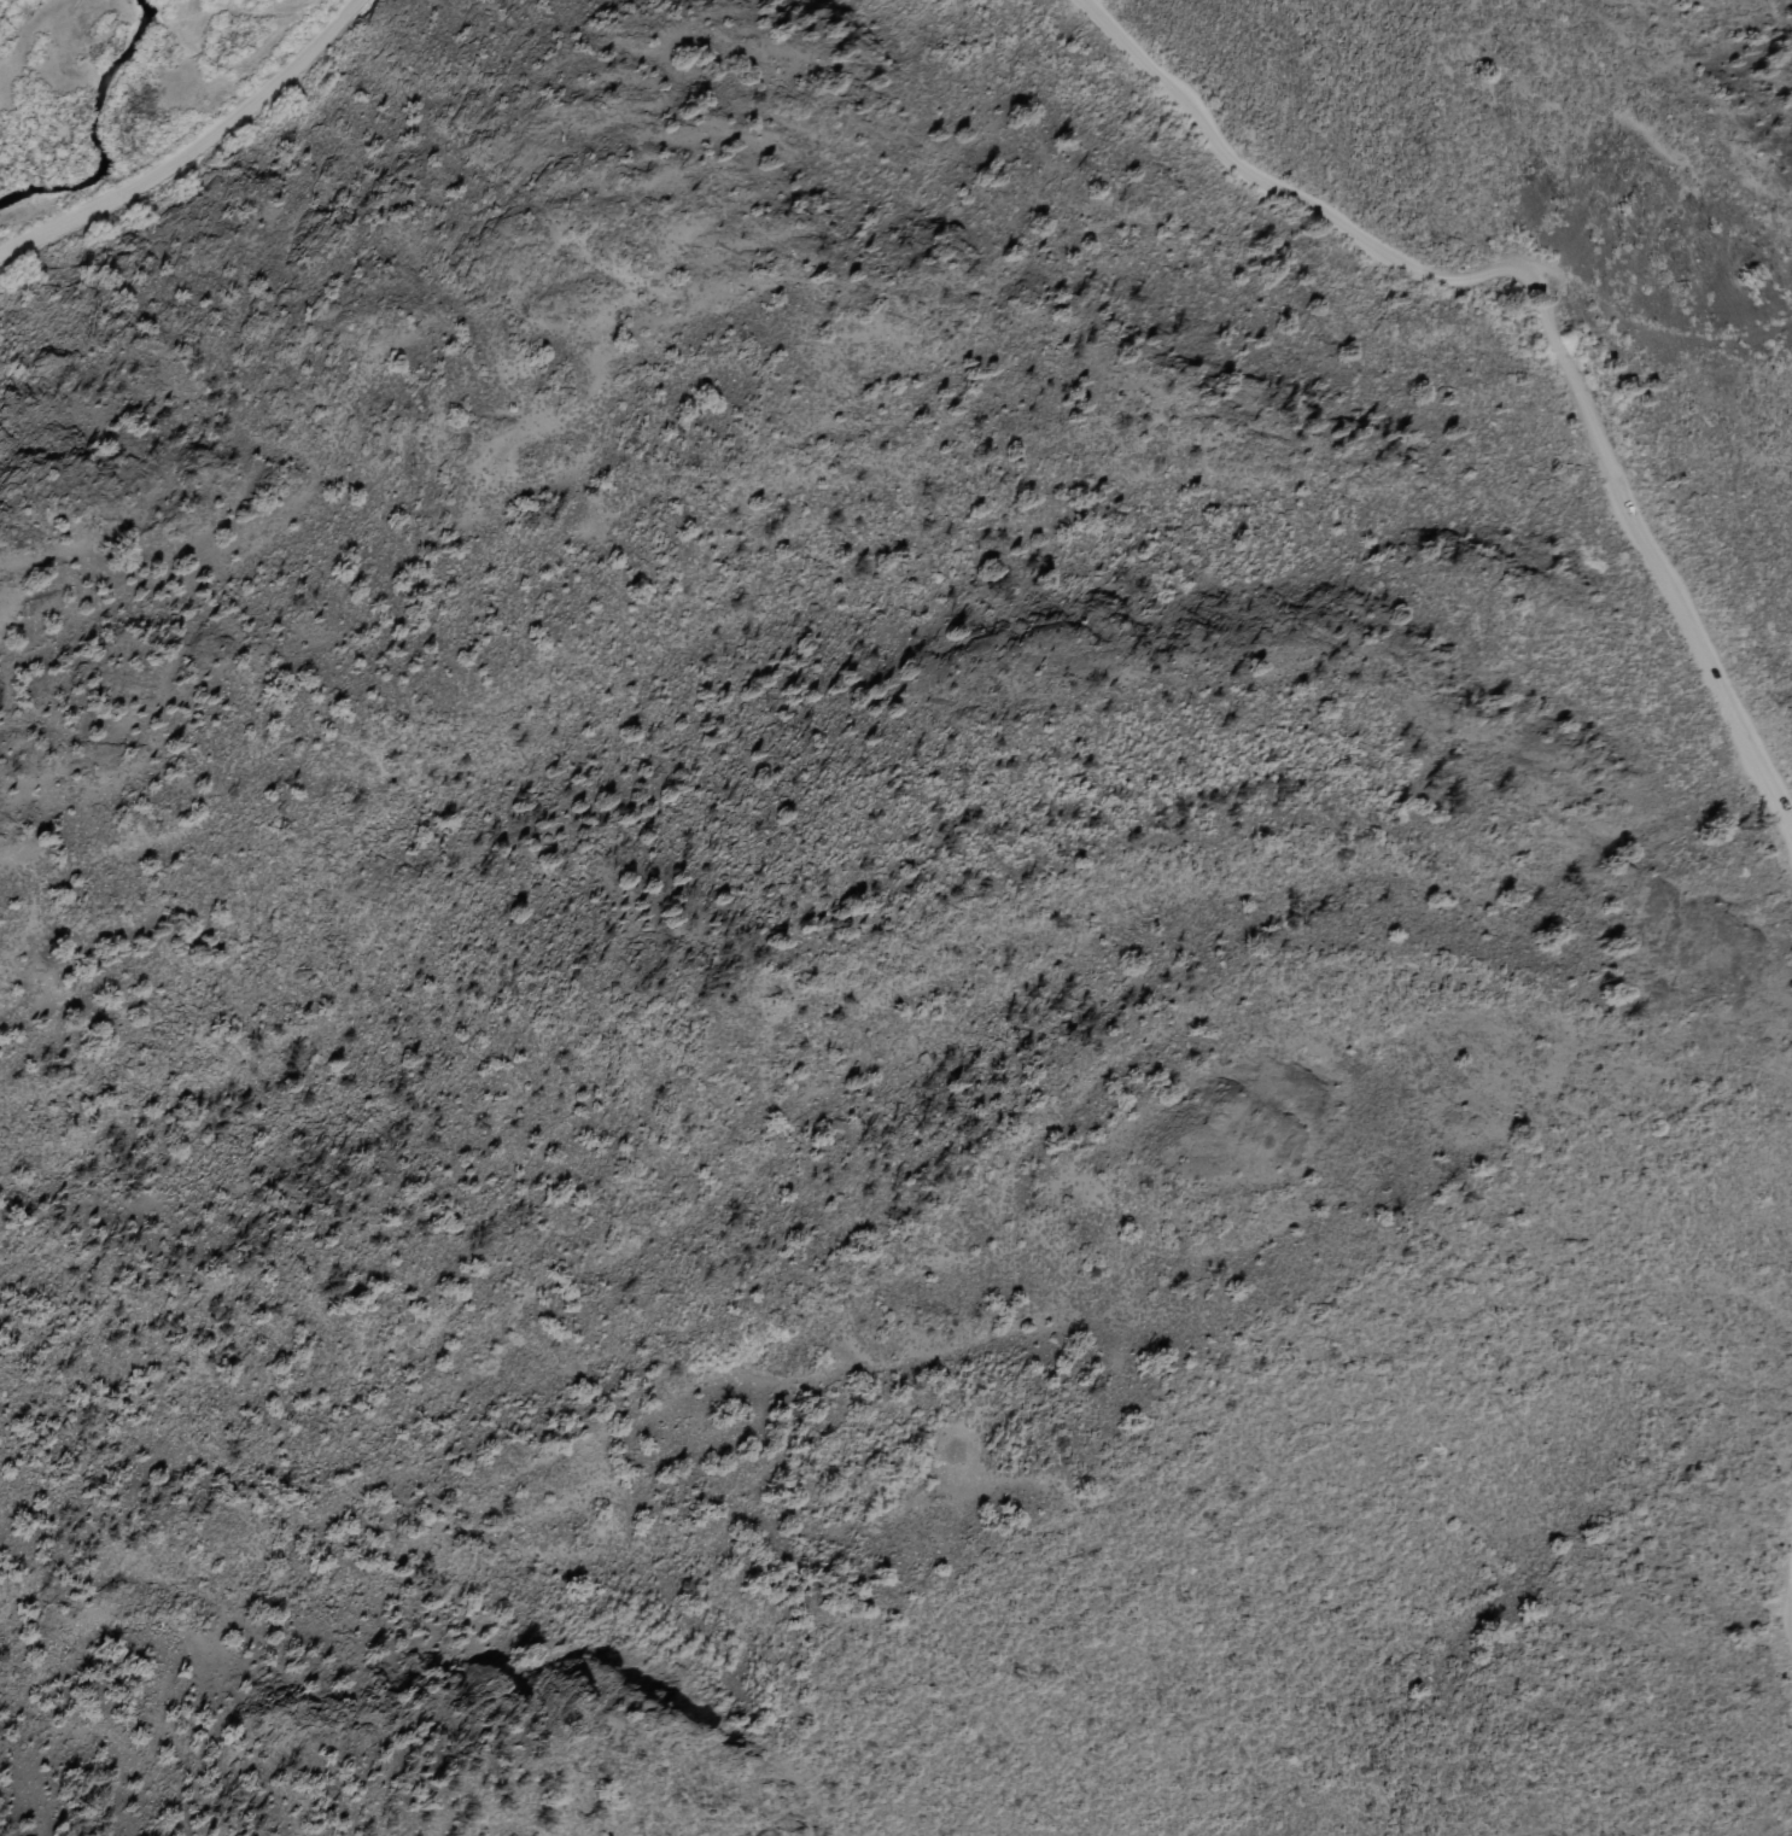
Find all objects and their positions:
road: (197, 151)
road: (1543, 302)

